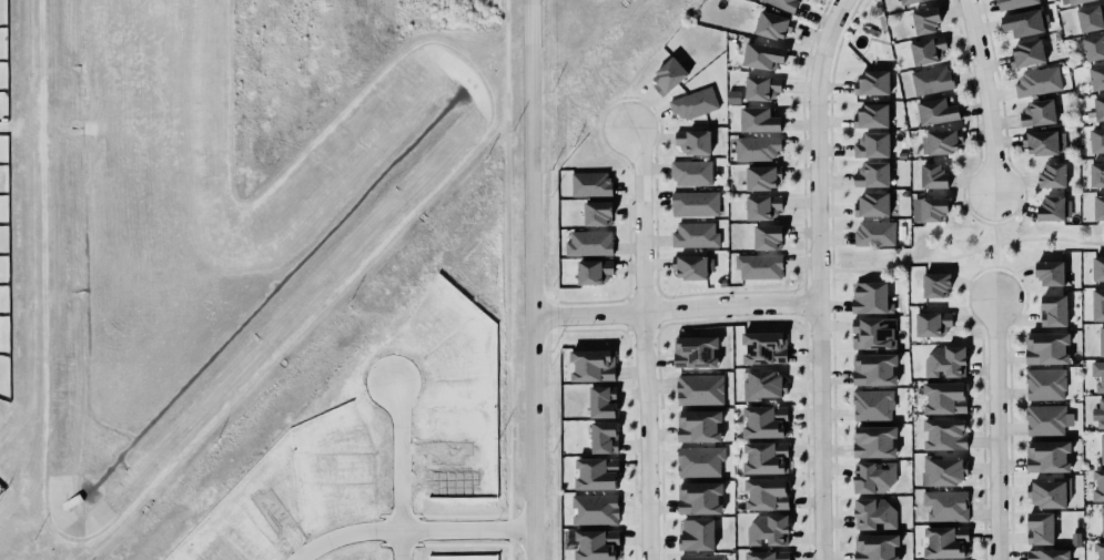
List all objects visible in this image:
building: (1072, 1)
building: (911, 2)
building: (783, 3)
building: (1016, 3)
building: (1091, 18)
building: (925, 20)
building: (1022, 23)
building: (773, 26)
building: (1094, 47)
building: (925, 50)
building: (1025, 54)
building: (761, 57)
building: (669, 75)
building: (1096, 77)
building: (932, 80)
building: (1036, 81)
building: (872, 83)
building: (759, 88)
road: (985, 95)
building: (733, 96)
building: (695, 103)
building: (1097, 109)
building: (934, 112)
building: (1036, 113)
building: (872, 115)
building: (757, 121)
building: (1096, 140)
building: (693, 141)
building: (941, 142)
building: (1042, 142)
building: (870, 145)
building: (756, 149)
building: (690, 173)
building: (872, 174)
building: (1095, 175)
building: (933, 176)
building: (1052, 176)
building: (763, 177)
building: (589, 184)
road: (981, 201)
building: (692, 203)
building: (871, 205)
building: (762, 206)
building: (1098, 207)
building: (929, 208)
building: (1050, 210)
building: (596, 214)
road: (979, 220)
road: (1007, 222)
building: (873, 233)
building: (696, 235)
road: (995, 235)
building: (768, 237)
building: (588, 241)
park: (962, 248)
road: (969, 253)
road: (997, 255)
road: (832, 257)
building: (759, 263)
building: (1096, 265)
building: (689, 267)
road: (1005, 268)
road: (981, 269)
building: (1047, 269)
building: (594, 272)
road: (817, 277)
road: (506, 279)
road: (531, 279)
building: (934, 282)
road: (833, 286)
road: (982, 289)
building: (871, 297)
building: (1096, 302)
building: (1052, 307)
road: (675, 309)
building: (930, 322)
building: (872, 332)
building: (1101, 338)
road: (642, 343)
building: (762, 345)
building: (1043, 346)
building: (692, 349)
building: (944, 359)
building: (592, 365)
building: (872, 366)
building: (1096, 374)
building: (1043, 383)
building: (764, 384)
building: (700, 389)
building: (943, 395)
building: (599, 399)
building: (871, 403)
building: (1101, 413)
park: (8, 414)
building: (1045, 417)
building: (766, 421)
building: (696, 424)
road: (995, 429)
building: (943, 431)
building: (605, 437)
building: (872, 439)
building: (1101, 446)
building: (1045, 452)
building: (762, 455)
road: (399, 457)
building: (697, 460)
building: (941, 468)
building: (597, 474)
building: (872, 475)
building: (1098, 478)
building: (764, 491)
building: (1049, 493)
building: (697, 496)
building: (946, 505)
building: (592, 508)
building: (871, 511)
building: (1102, 519)
building: (1037, 526)
building: (769, 530)
road: (467, 531)
building: (697, 534)
road: (351, 537)
building: (944, 539)
building: (595, 542)
road: (401, 546)
building: (874, 546)
building: (1098, 548)
building: (1045, 553)
building: (764, 554)
building: (709, 559)

